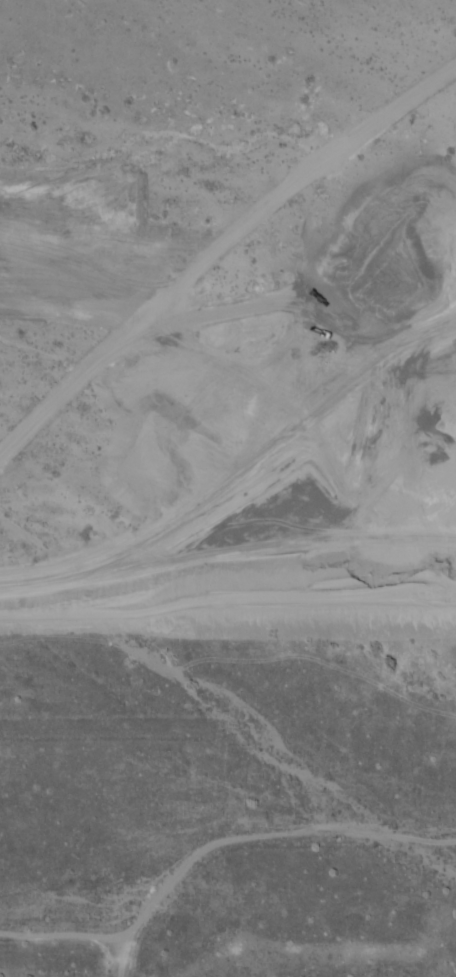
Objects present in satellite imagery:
road: (443, 328)
quarry: (288, 390)
road: (257, 441)
road: (349, 573)
road: (228, 609)

